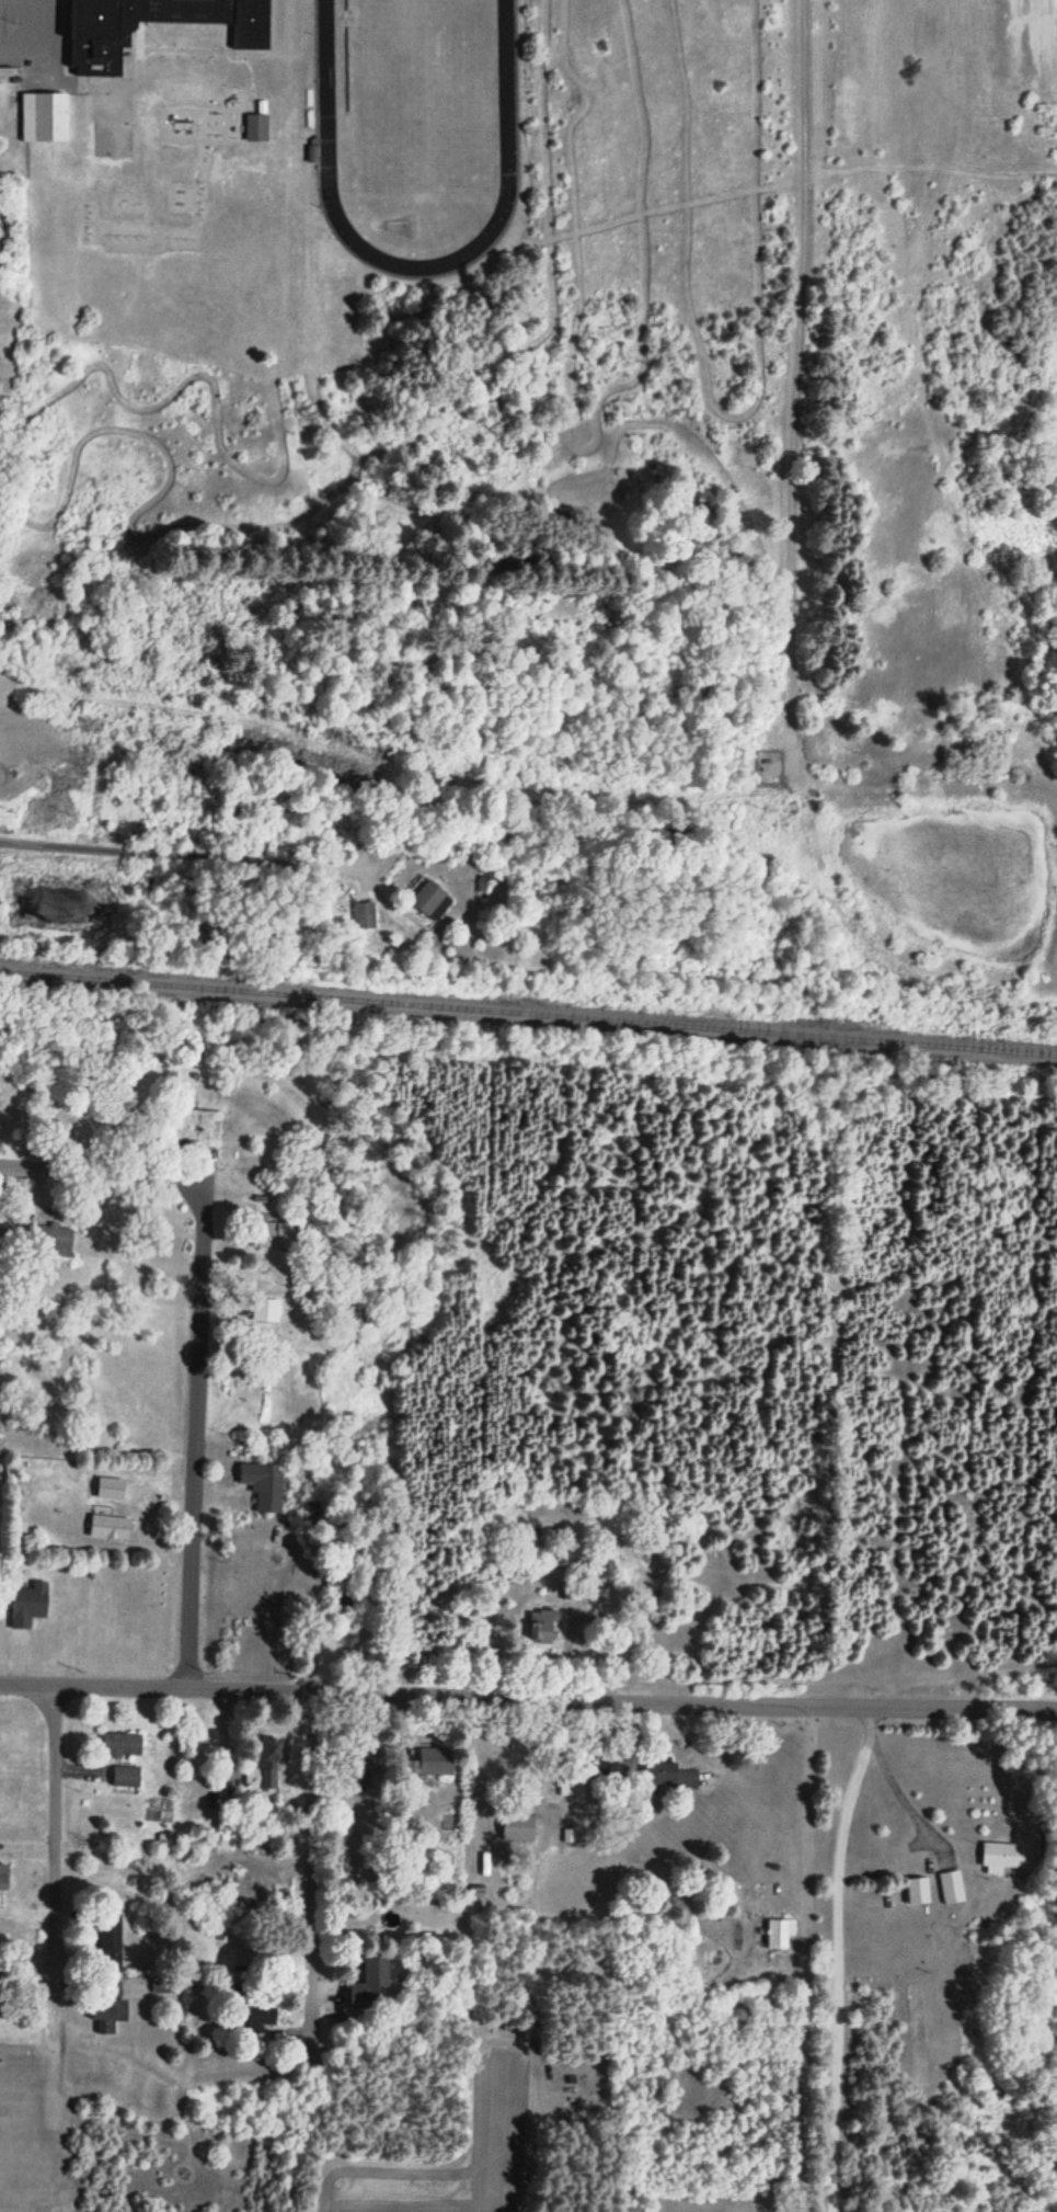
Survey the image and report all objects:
road: (26, 27)
building: (100, 37)
building: (46, 115)
building: (257, 128)
track: (414, 258)
road: (188, 853)
building: (429, 898)
building: (365, 916)
railway: (528, 1011)
building: (199, 1127)
road: (99, 1171)
building: (274, 1236)
building: (51, 1241)
building: (267, 1311)
building: (941, 1398)
road: (193, 1437)
building: (253, 1481)
building: (111, 1528)
building: (30, 1606)
building: (541, 1628)
road: (528, 1696)
building: (123, 1745)
building: (434, 1763)
building: (267, 1767)
building: (670, 1776)
building: (127, 1777)
building: (519, 1828)
road: (49, 1854)
building: (1006, 1856)
building: (3, 1877)
road: (308, 1877)
building: (953, 1886)
building: (919, 1890)
building: (781, 1932)
building: (110, 1939)
road: (836, 1954)
road: (804, 1957)
building: (371, 1981)
building: (1, 1991)
building: (108, 2014)

